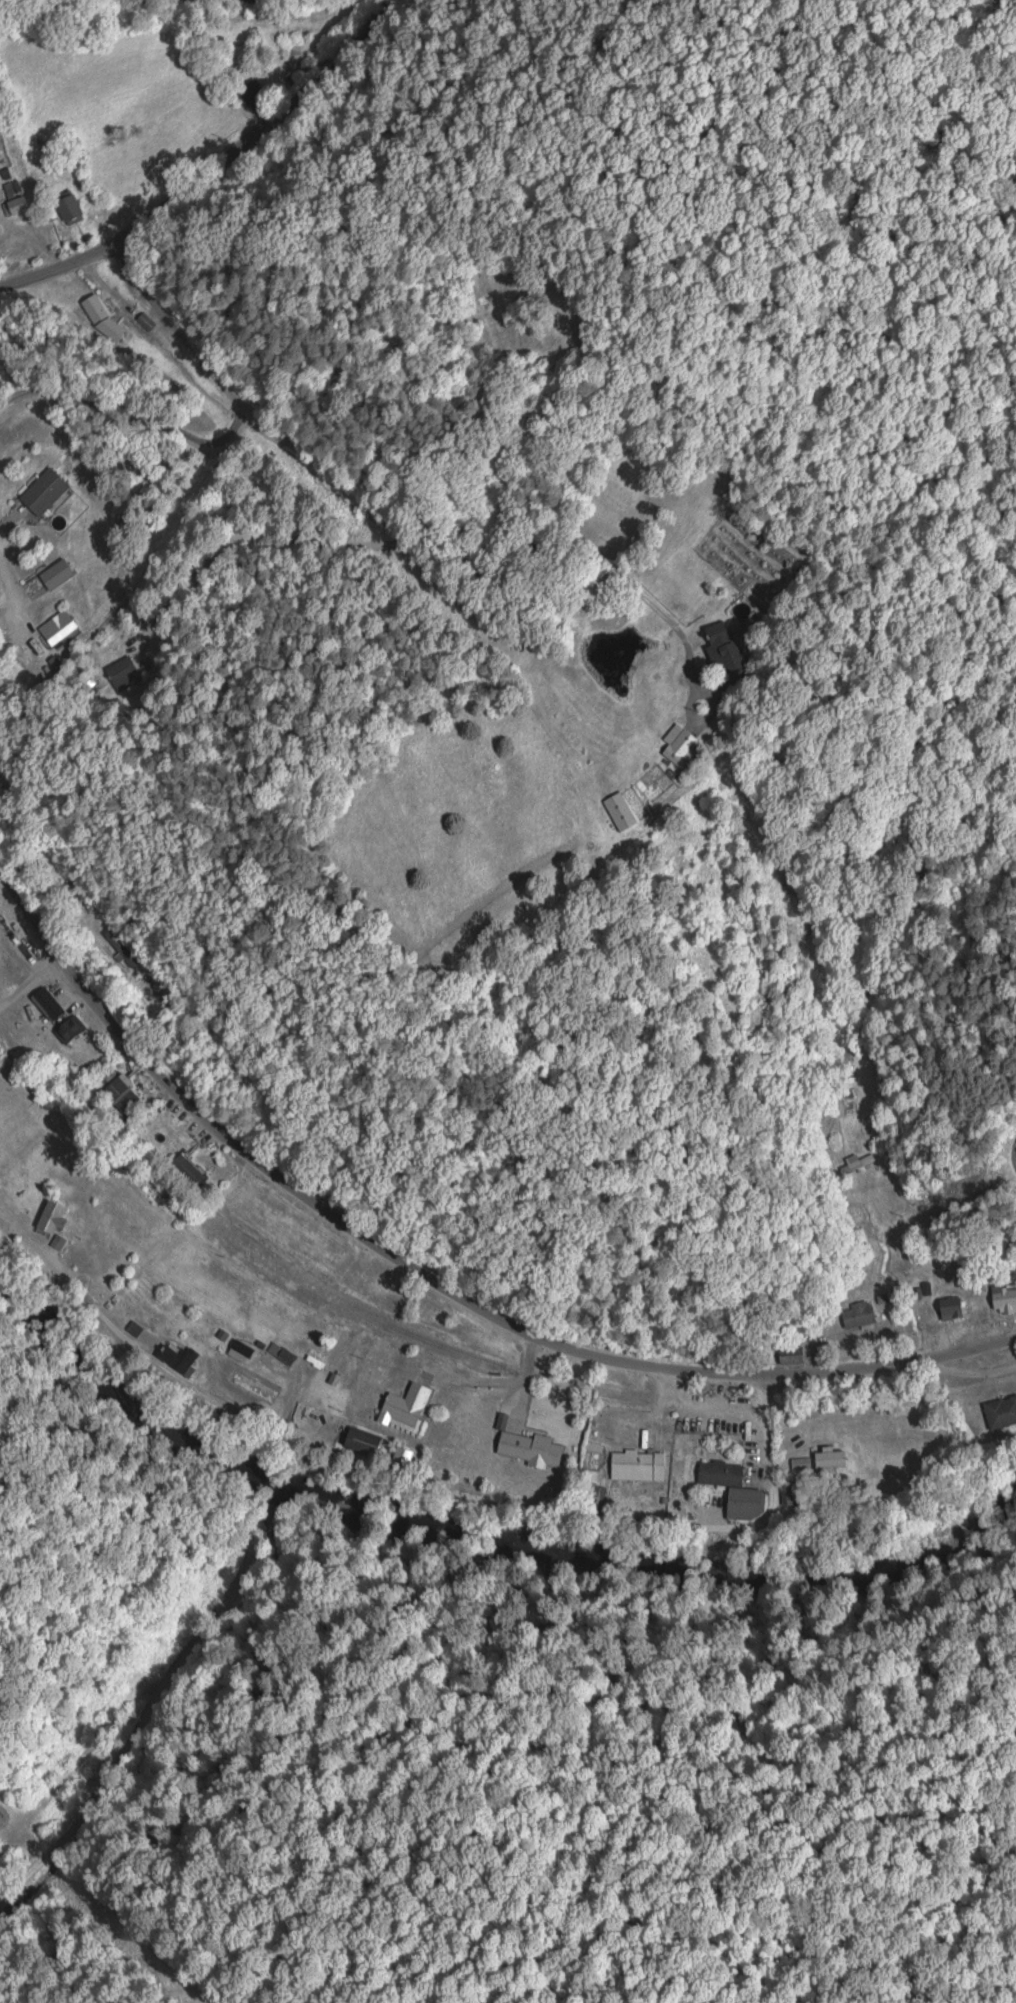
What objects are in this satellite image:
building: (251, 93)
road: (208, 163)
building: (16, 204)
building: (71, 208)
building: (103, 321)
building: (45, 490)
road: (384, 507)
building: (58, 573)
building: (58, 627)
building: (728, 649)
building: (123, 673)
building: (682, 745)
building: (9, 773)
building: (620, 810)
building: (120, 946)
building: (157, 990)
building: (48, 1003)
building: (70, 1029)
building: (121, 1094)
road: (1013, 1154)
building: (856, 1161)
building: (2, 1194)
building: (53, 1216)
road: (432, 1278)
building: (1004, 1298)
building: (953, 1307)
building: (858, 1314)
building: (242, 1348)
building: (178, 1356)
building: (287, 1356)
building: (793, 1356)
building: (408, 1404)
building: (1001, 1412)
building: (363, 1442)
building: (531, 1448)
road: (334, 1458)
building: (832, 1459)
building: (638, 1464)
building: (720, 1472)
building: (592, 1494)
building: (746, 1503)

